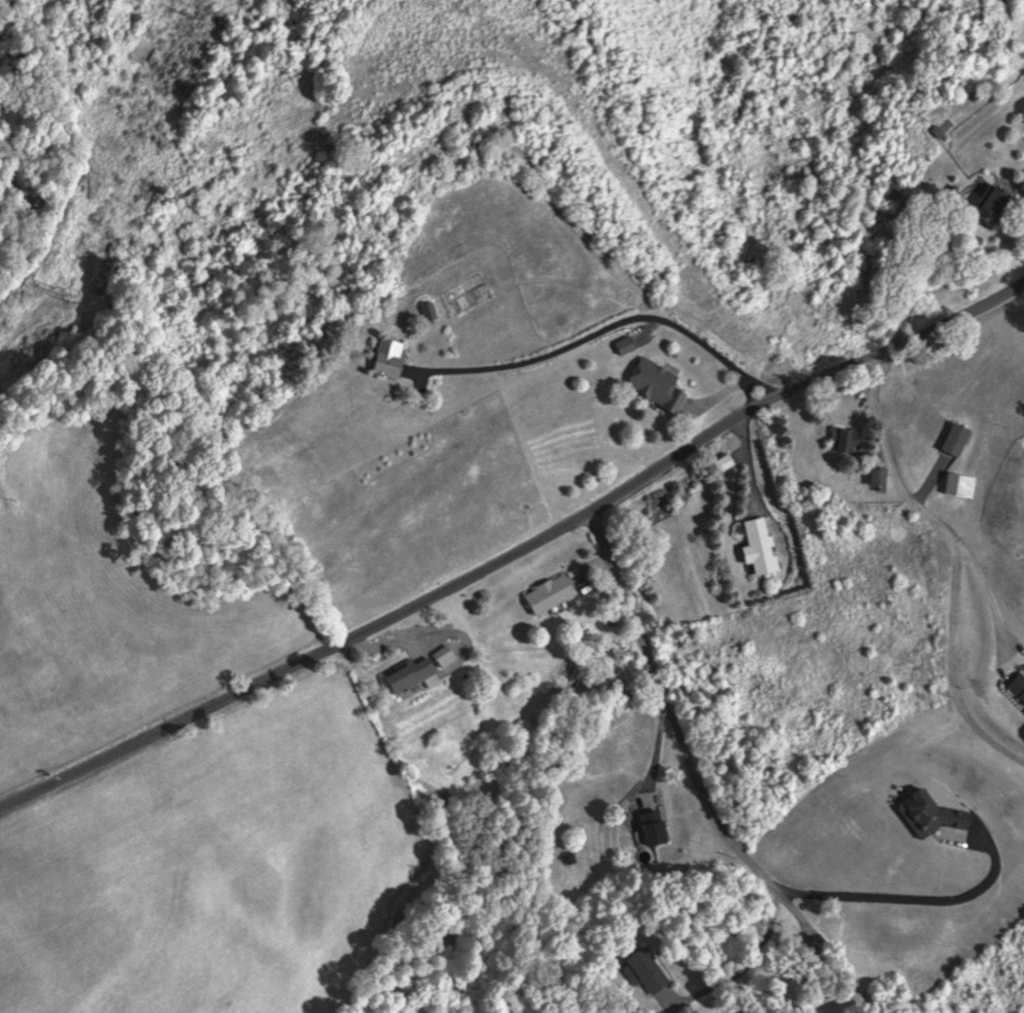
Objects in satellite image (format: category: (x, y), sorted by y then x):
power tower: (52, 297)
building: (434, 310)
road: (623, 319)
building: (630, 344)
building: (396, 356)
building: (661, 383)
building: (959, 437)
building: (851, 439)
building: (962, 484)
building: (763, 545)
road: (514, 548)
road: (957, 557)
road: (992, 585)
building: (553, 593)
building: (417, 674)
building: (1018, 685)
road: (693, 786)
building: (936, 812)
building: (657, 827)
road: (900, 899)
building: (650, 970)

